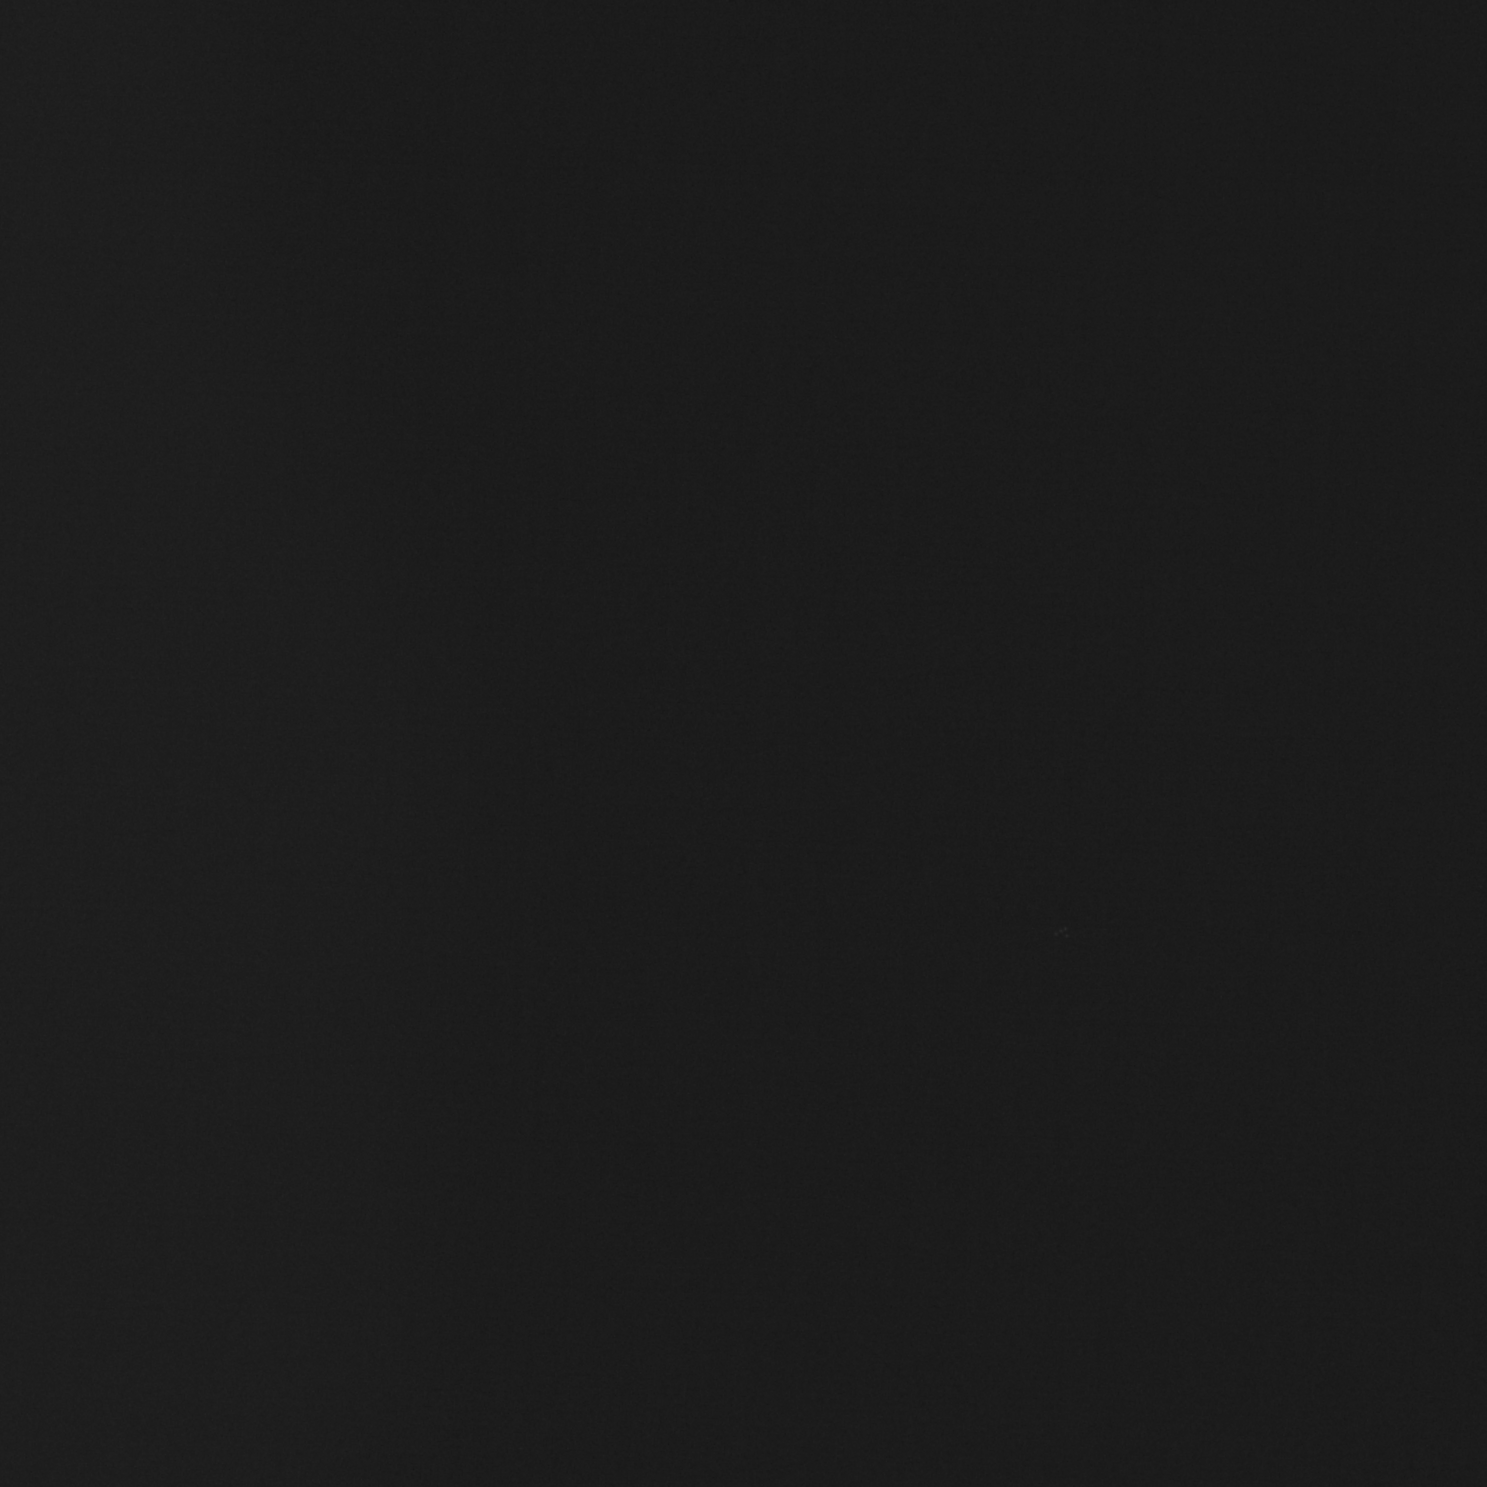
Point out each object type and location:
river: (743, 1271)

